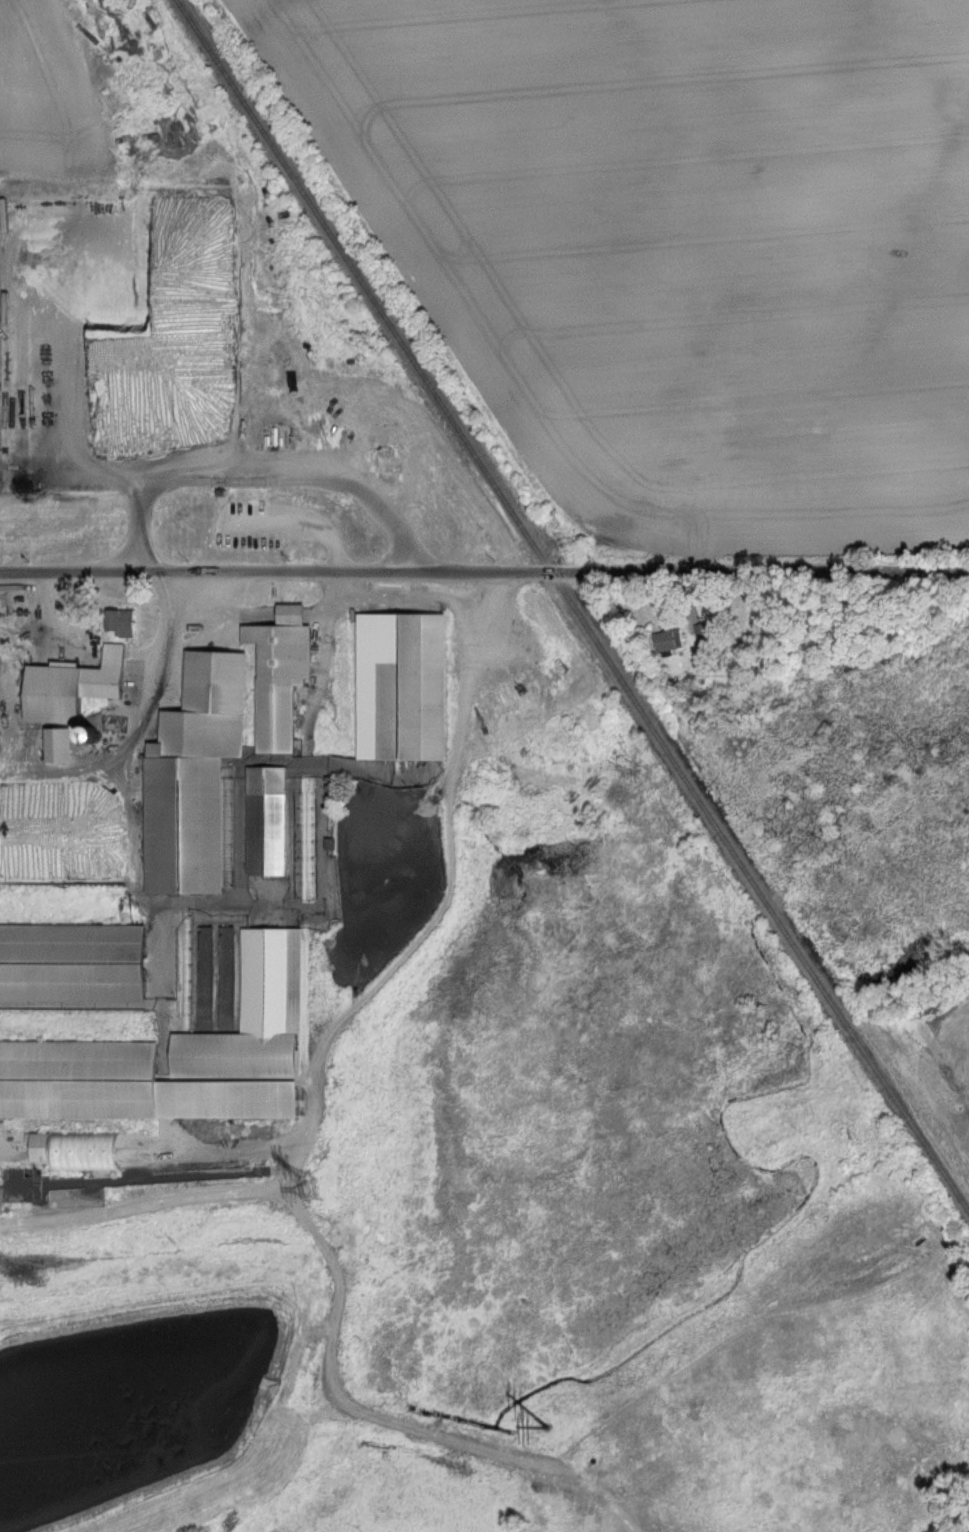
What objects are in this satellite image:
road: (484, 574)
railway: (570, 611)
building: (126, 625)
building: (705, 631)
building: (672, 639)
building: (109, 673)
building: (284, 679)
building: (410, 682)
building: (213, 707)
road: (142, 715)
building: (63, 744)
building: (270, 820)
building: (187, 825)
building: (73, 963)
road: (350, 1012)
building: (253, 1020)
building: (81, 1079)
building: (237, 1100)
power tower: (312, 1188)
power tower: (546, 1428)

